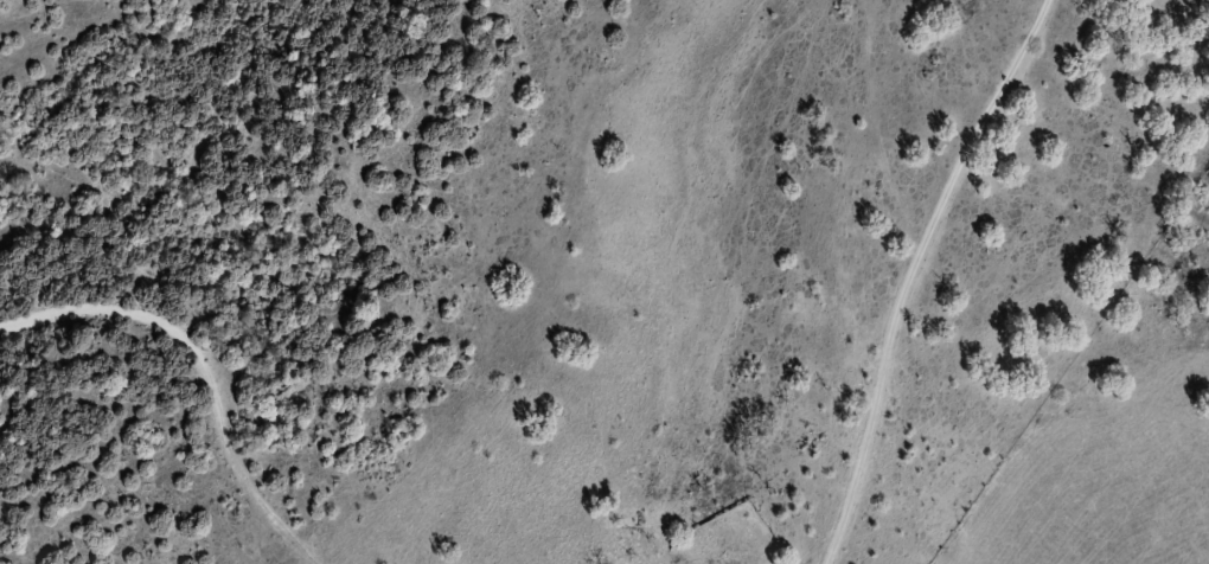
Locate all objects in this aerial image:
road: (810, 261)
road: (169, 395)

